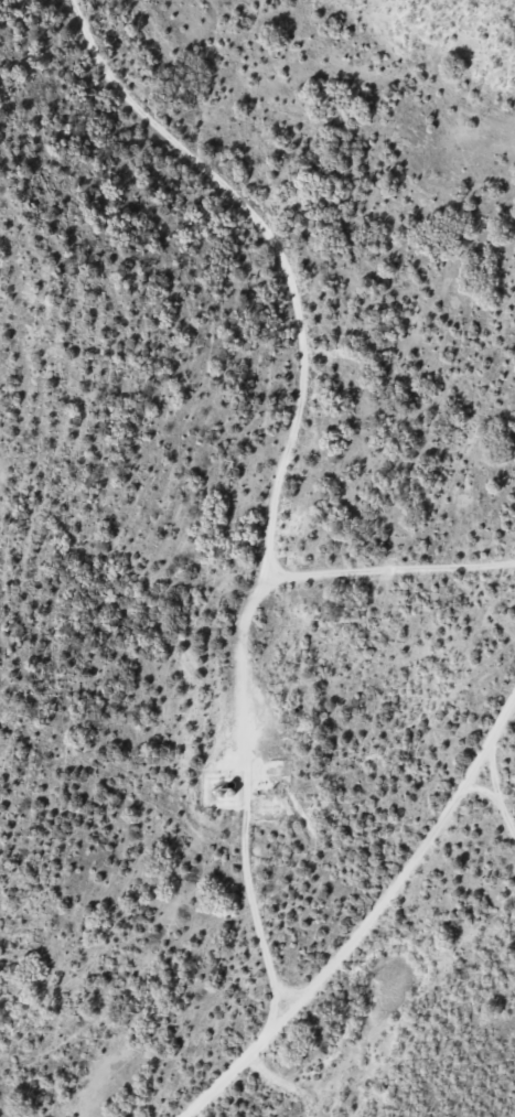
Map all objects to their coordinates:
road: (234, 762)
road: (427, 861)

